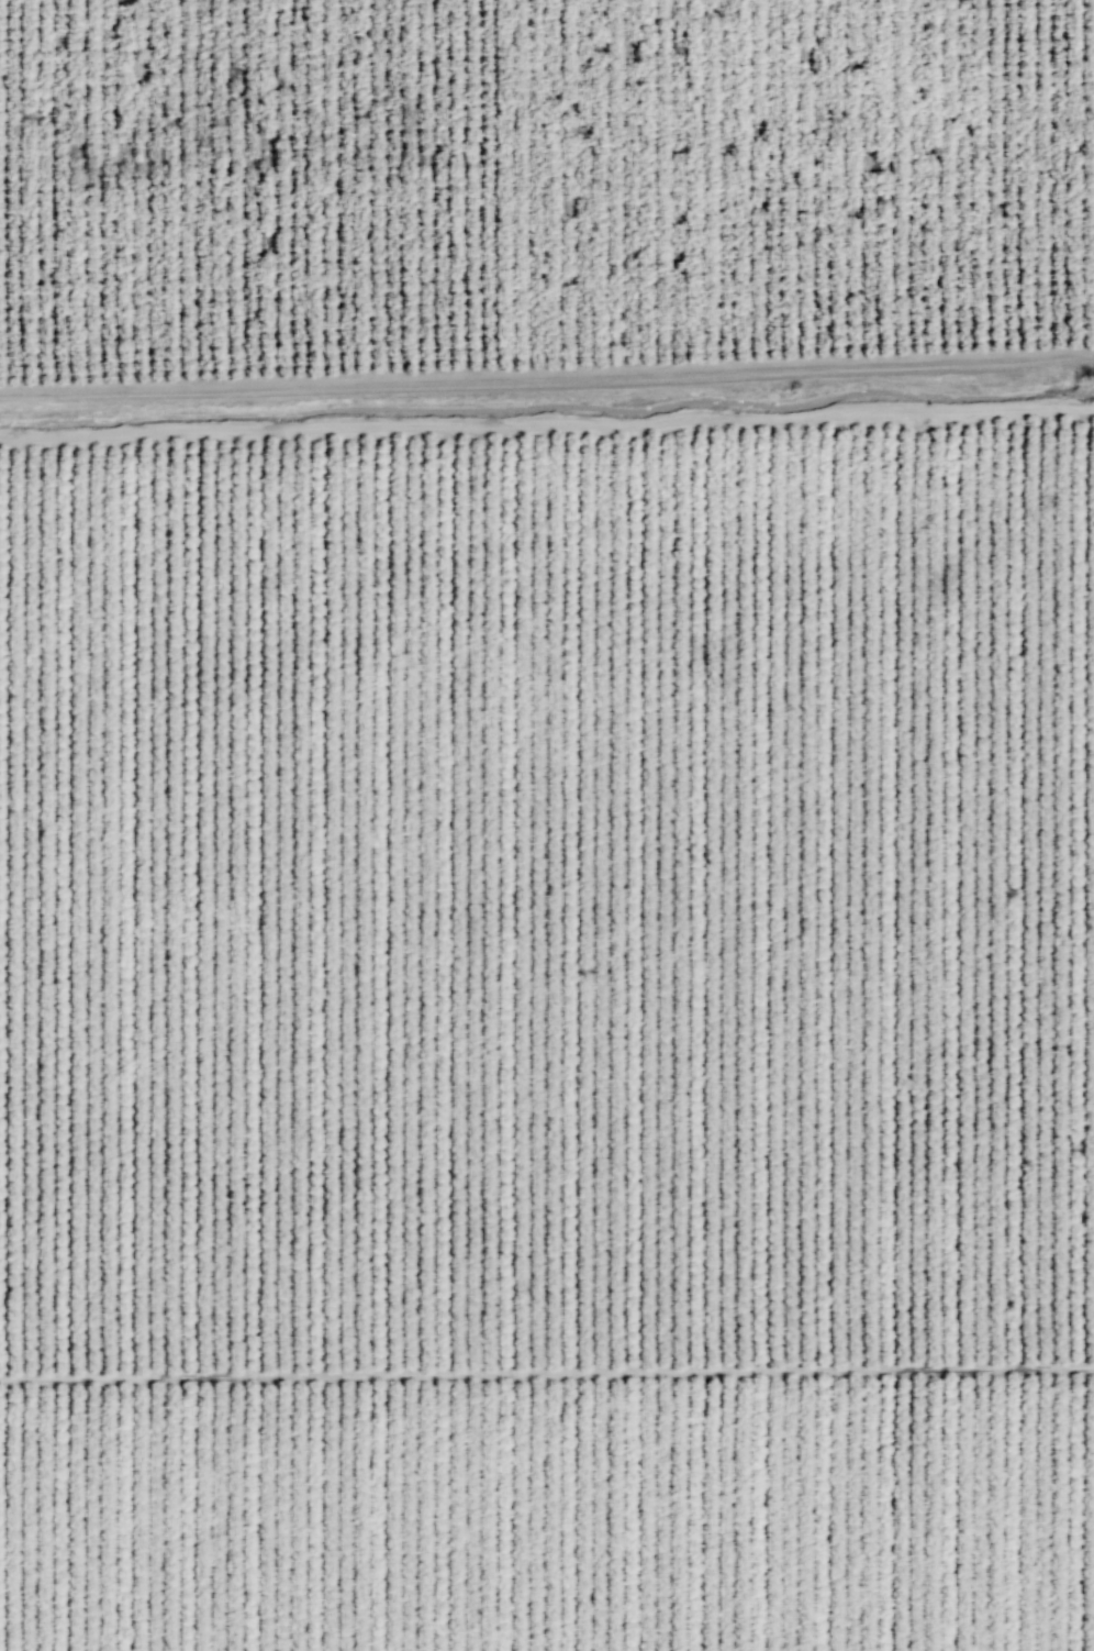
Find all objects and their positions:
road: (547, 380)
road: (547, 424)
road: (546, 1374)

